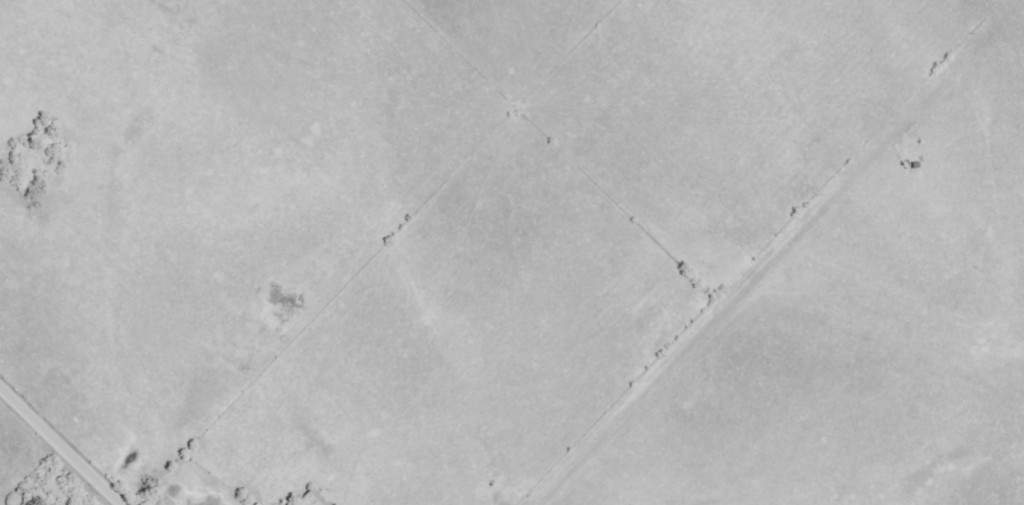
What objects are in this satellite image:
road: (61, 446)

